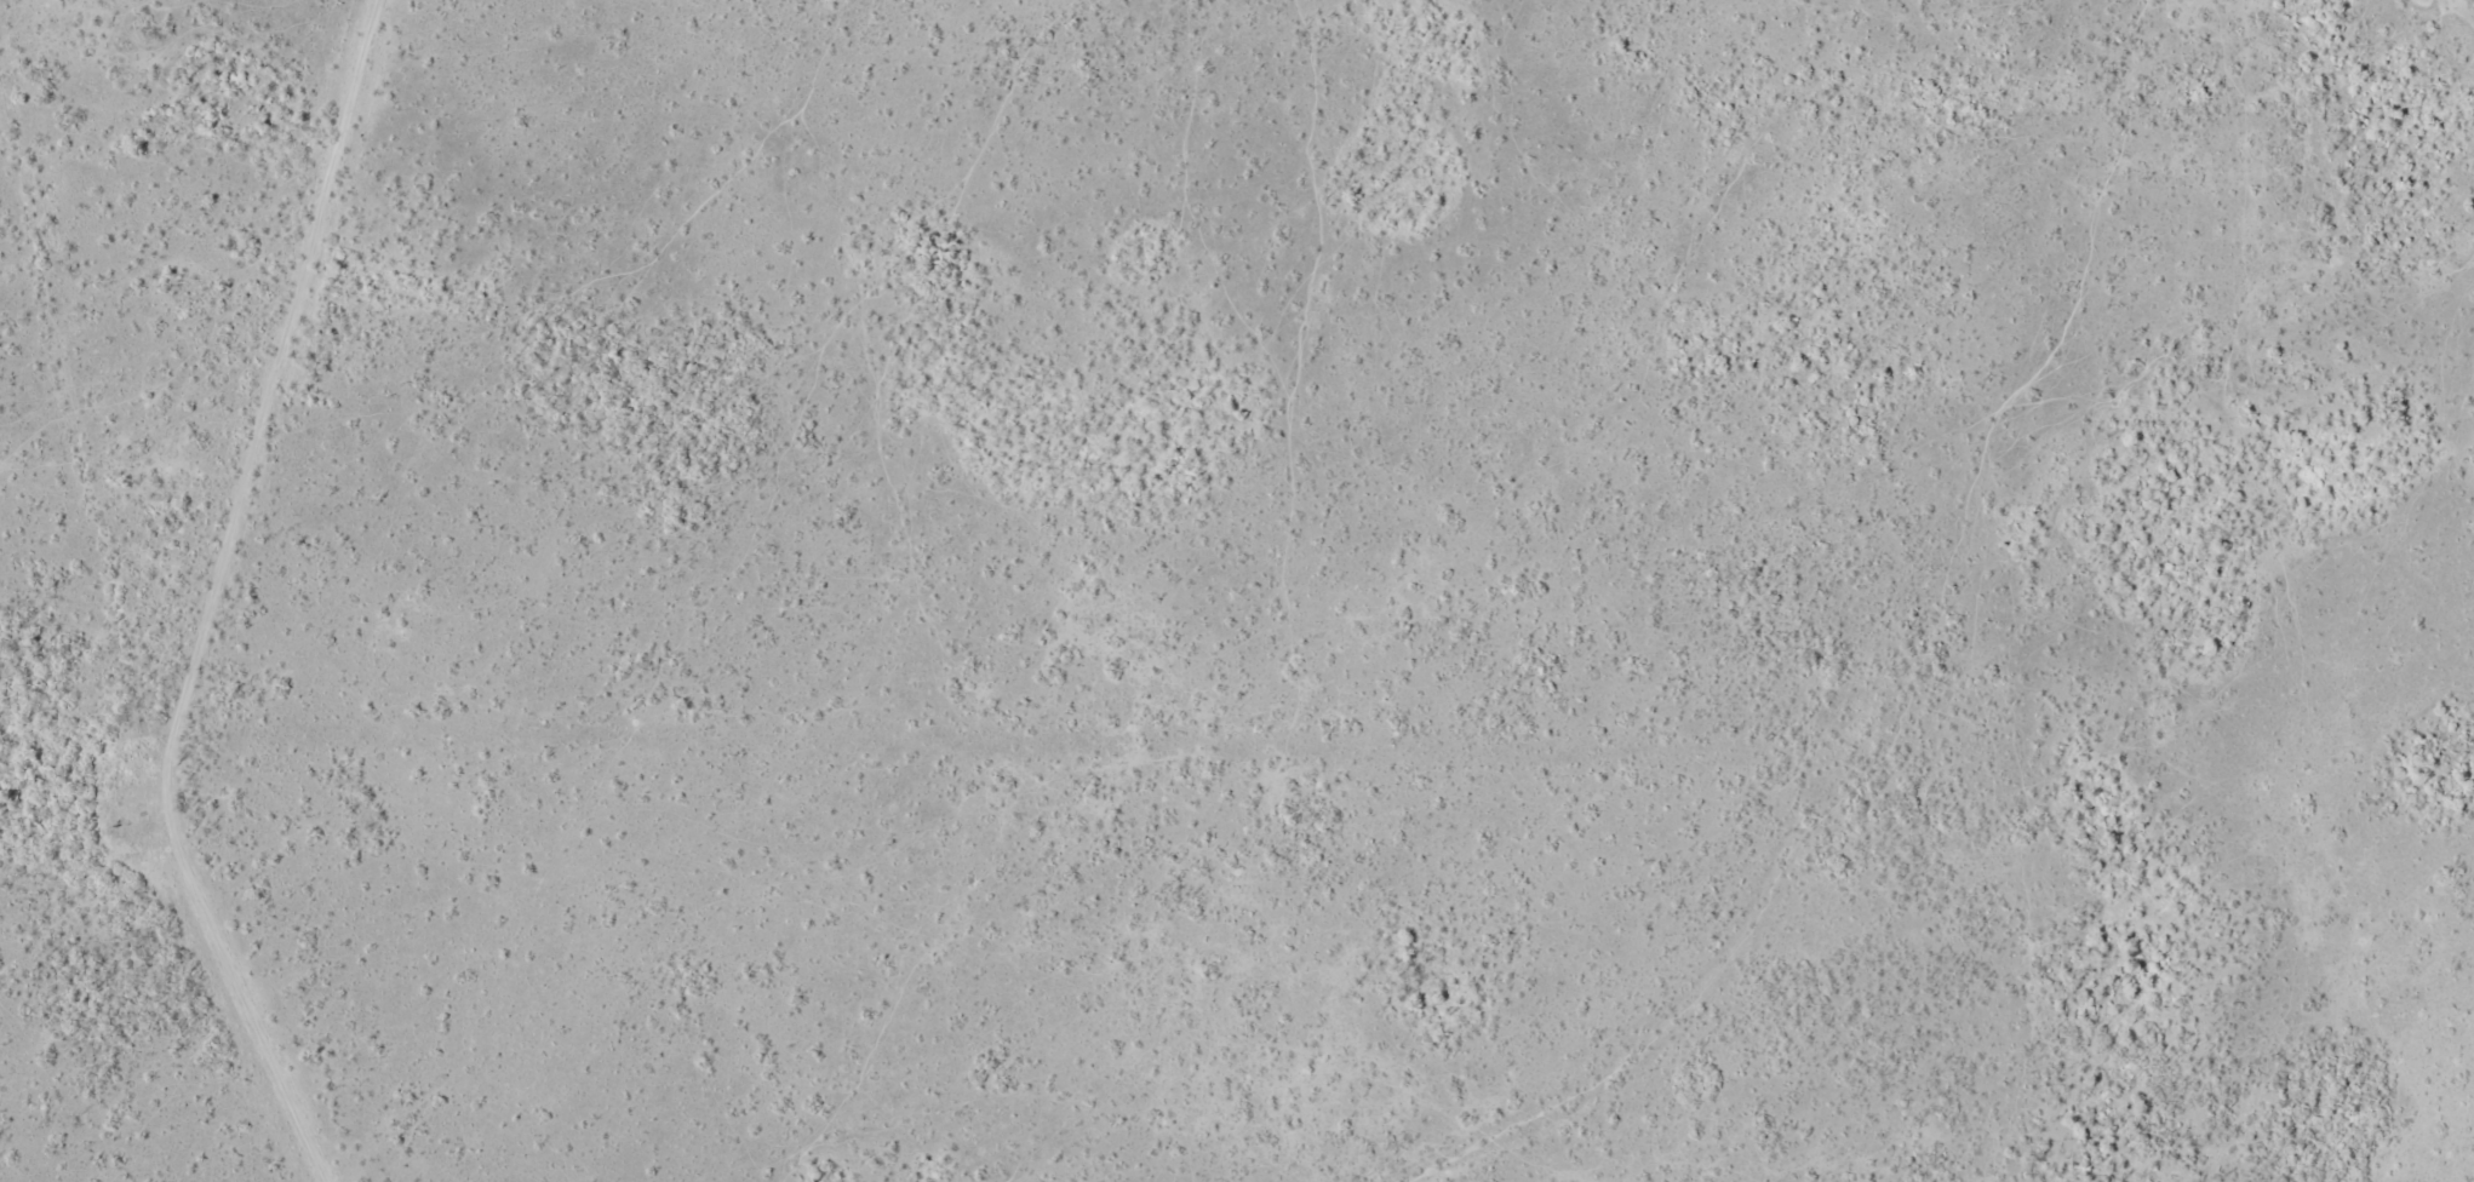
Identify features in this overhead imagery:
road: (161, 609)

